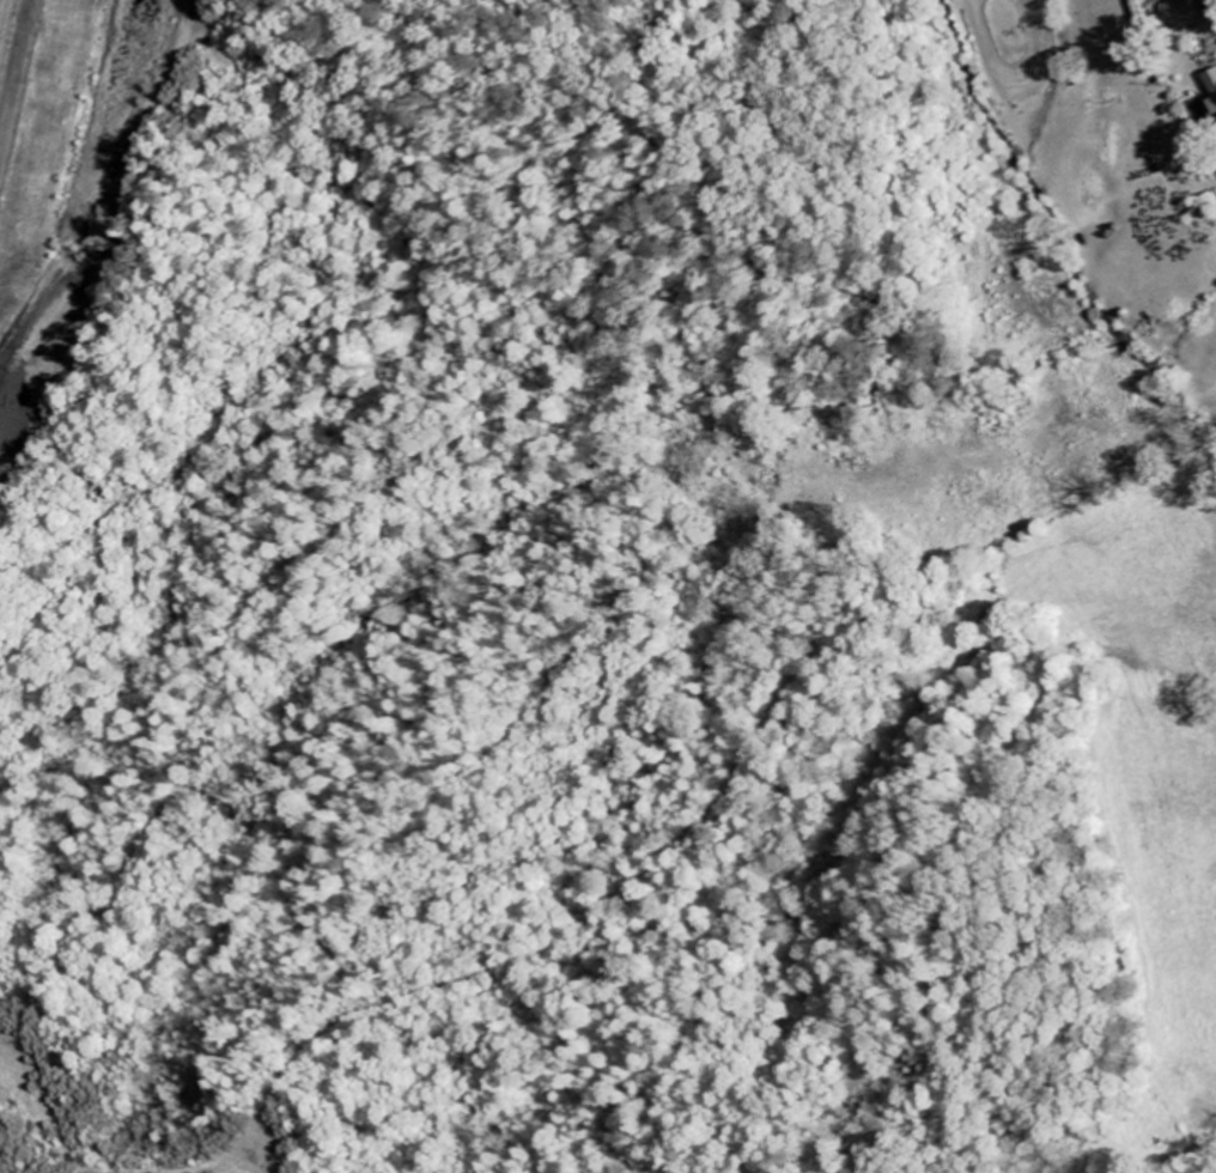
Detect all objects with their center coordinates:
building: (1210, 2)
building: (1188, 11)
building: (1214, 81)
building: (1215, 103)
road: (26, 122)
landfill: (71, 196)

